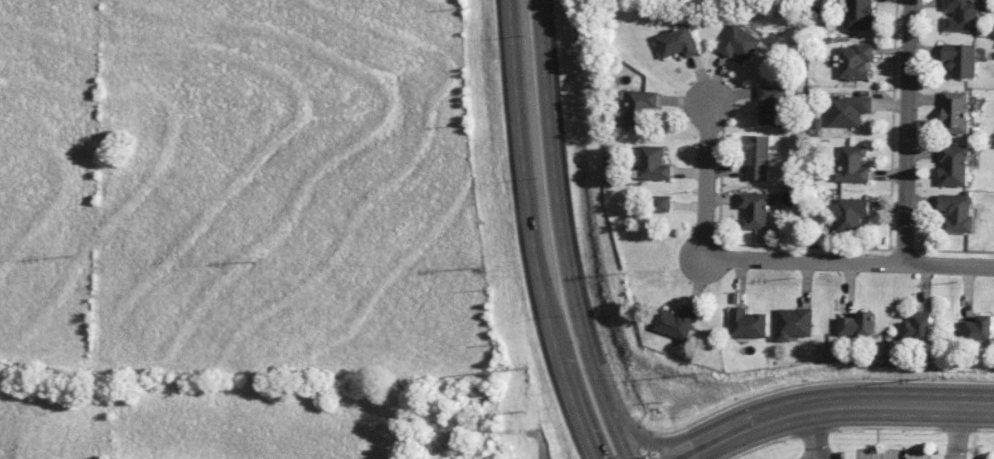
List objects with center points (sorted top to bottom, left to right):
building: (859, 13)
building: (962, 15)
building: (678, 42)
building: (739, 44)
building: (960, 59)
building: (855, 61)
building: (773, 105)
building: (640, 106)
building: (848, 110)
building: (955, 112)
road: (906, 131)
building: (757, 156)
building: (653, 163)
building: (852, 165)
building: (953, 165)
road: (707, 168)
building: (661, 203)
building: (757, 208)
building: (957, 211)
building: (851, 213)
road: (529, 233)
road: (563, 233)
road: (848, 262)
building: (676, 322)
building: (748, 323)
building: (794, 323)
building: (858, 324)
building: (917, 327)
building: (976, 328)
power tower: (526, 368)
power tower: (711, 373)
power tower: (939, 377)
road: (830, 409)
power tower: (524, 412)
road: (705, 426)
road: (954, 433)
road: (810, 435)
road: (708, 448)

